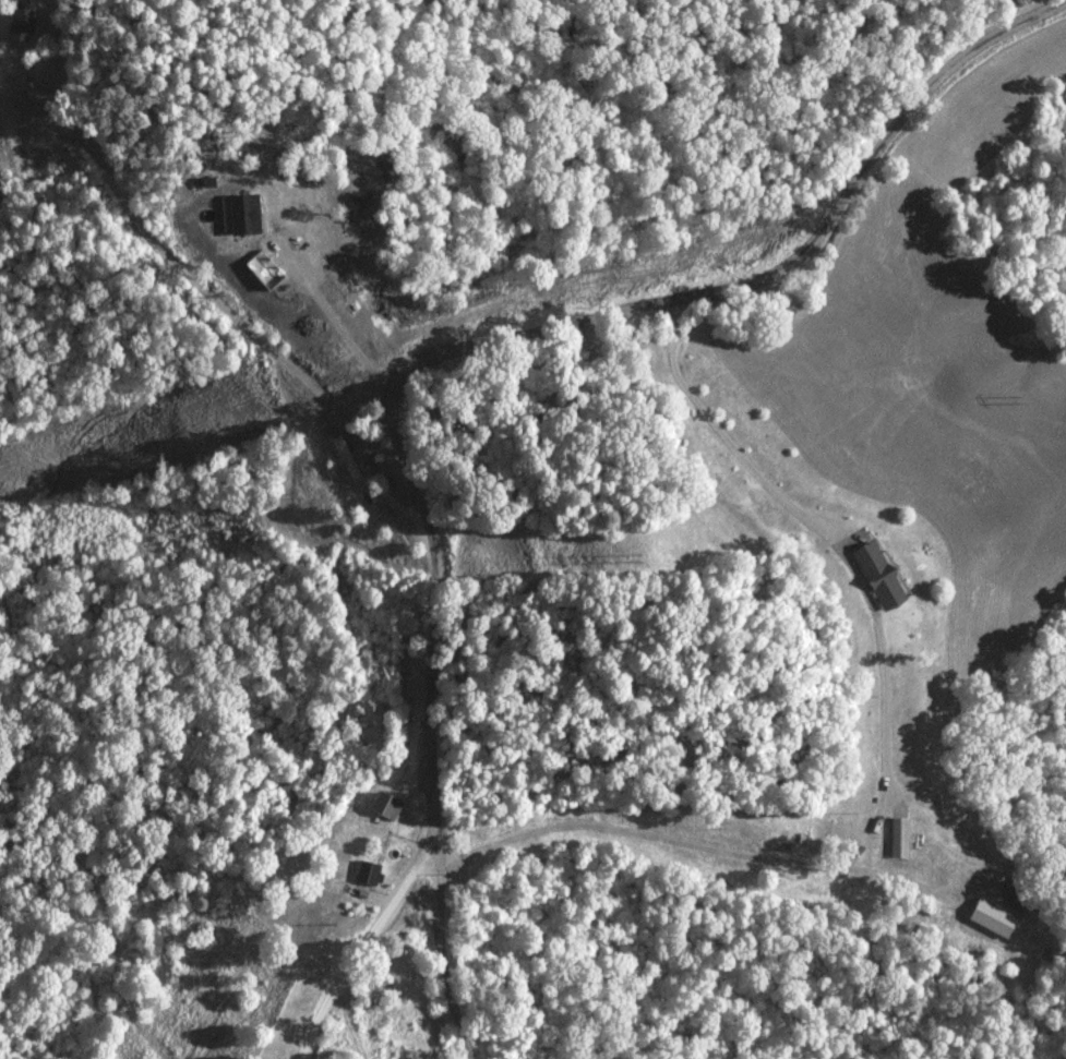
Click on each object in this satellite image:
building: (23, 22)
road: (429, 358)
building: (347, 457)
building: (370, 460)
building: (411, 686)
building: (399, 811)
building: (900, 832)
building: (378, 857)
building: (347, 881)
building: (994, 918)
road: (452, 958)

